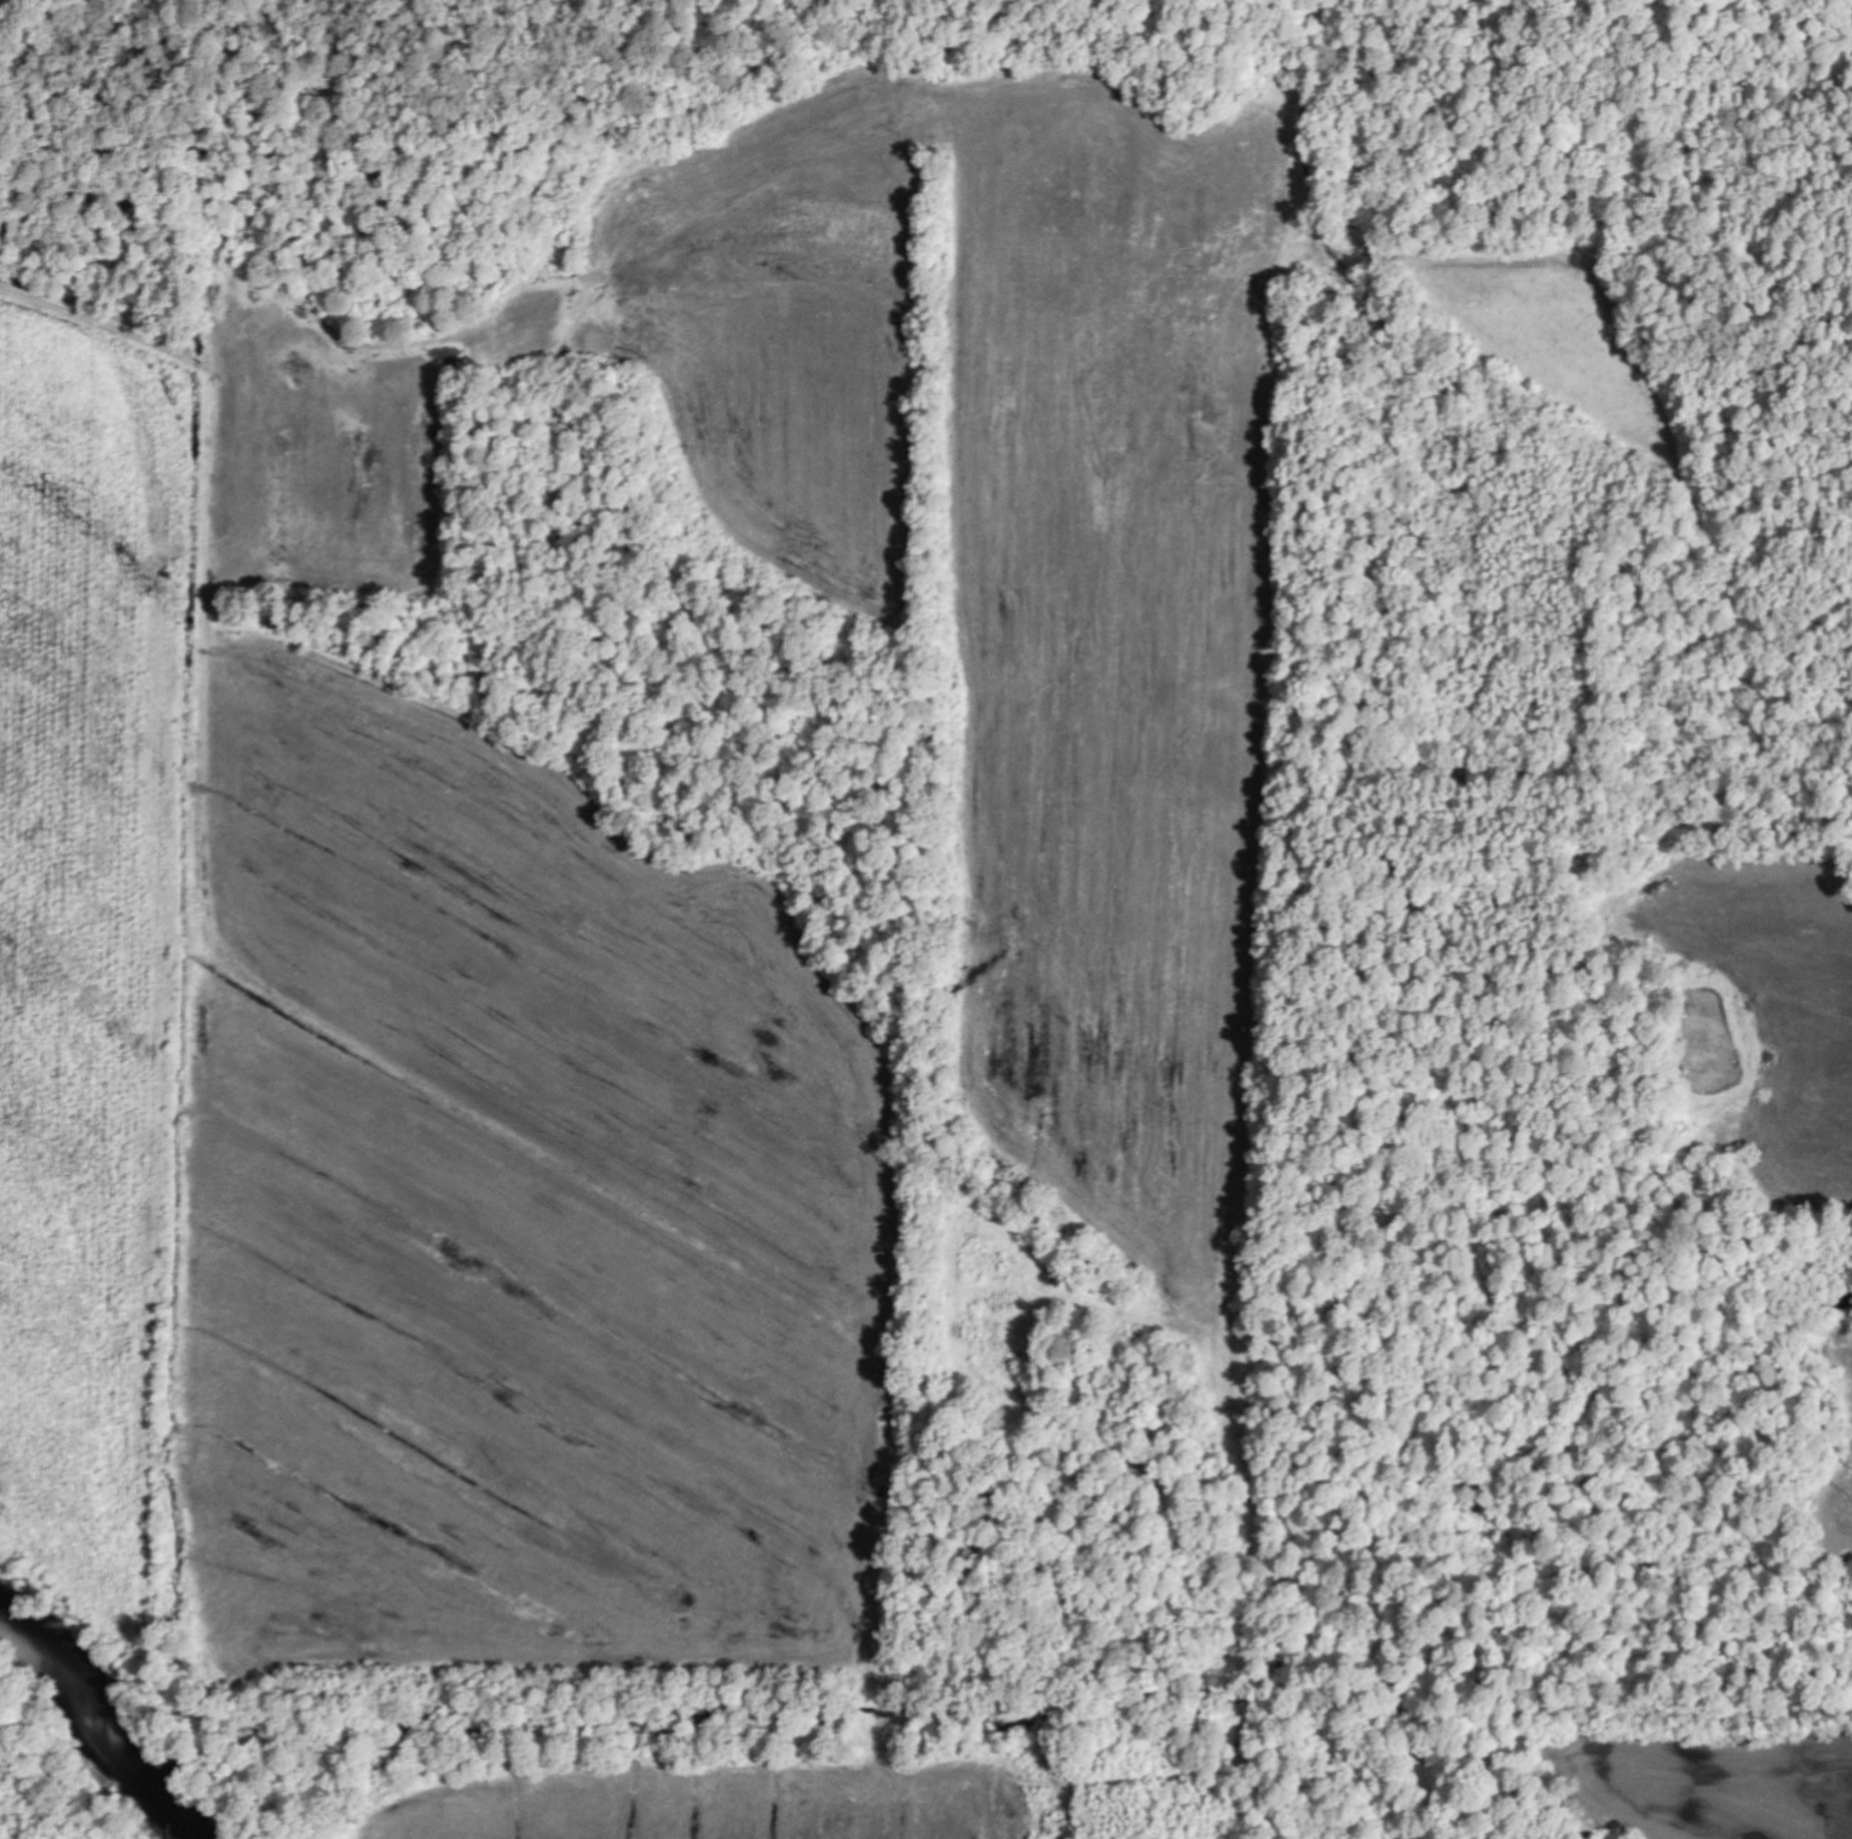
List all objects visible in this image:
river: (75, 1733)

